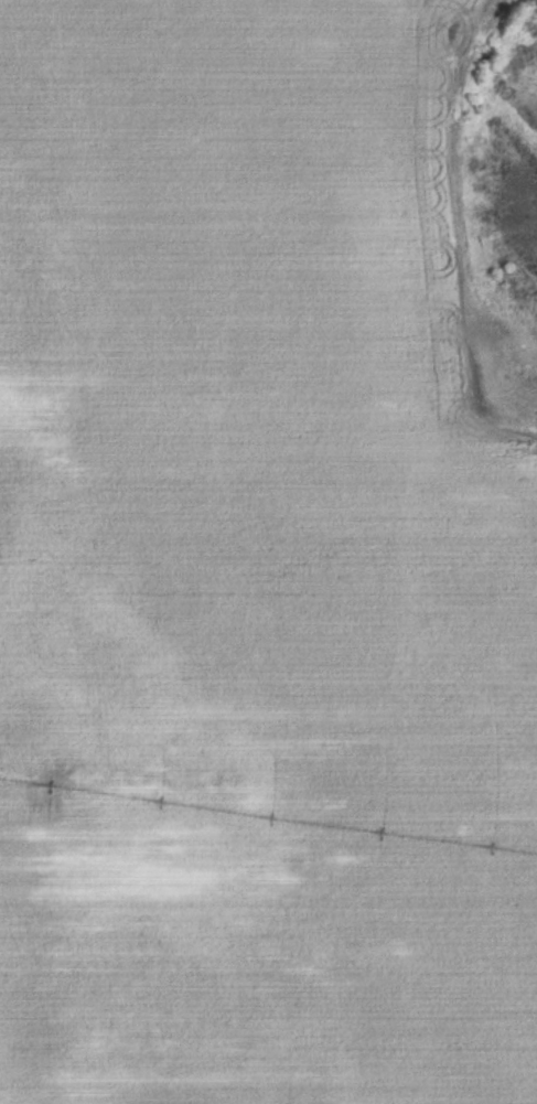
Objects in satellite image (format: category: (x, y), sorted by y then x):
crop: (262, 560)

